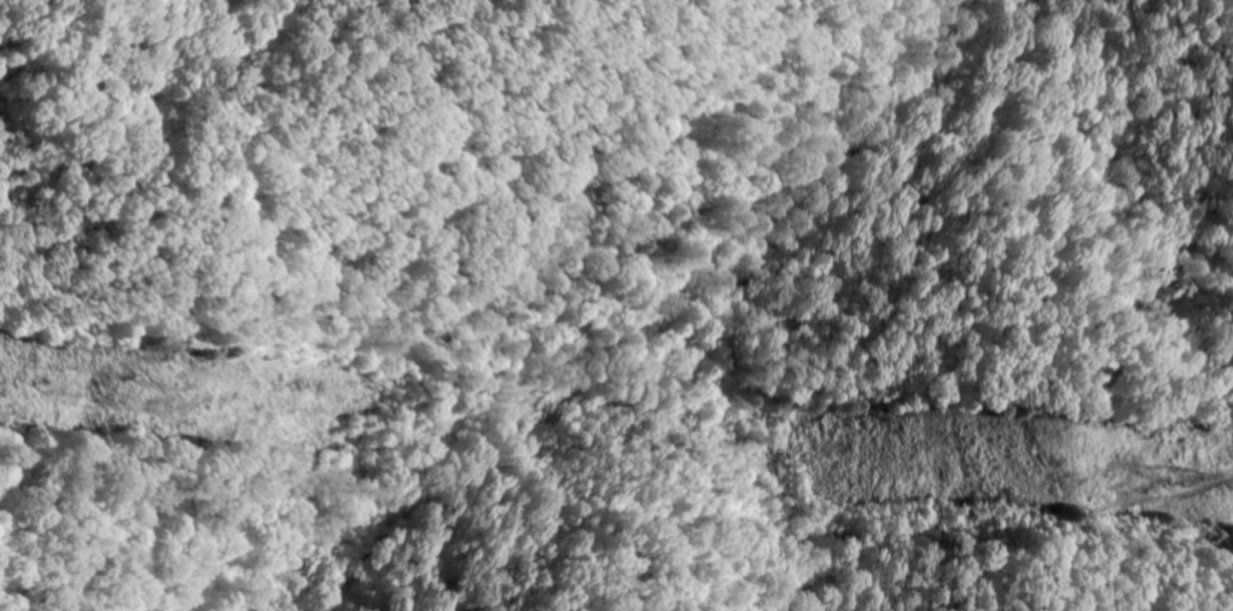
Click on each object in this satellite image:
power tower: (1169, 478)

